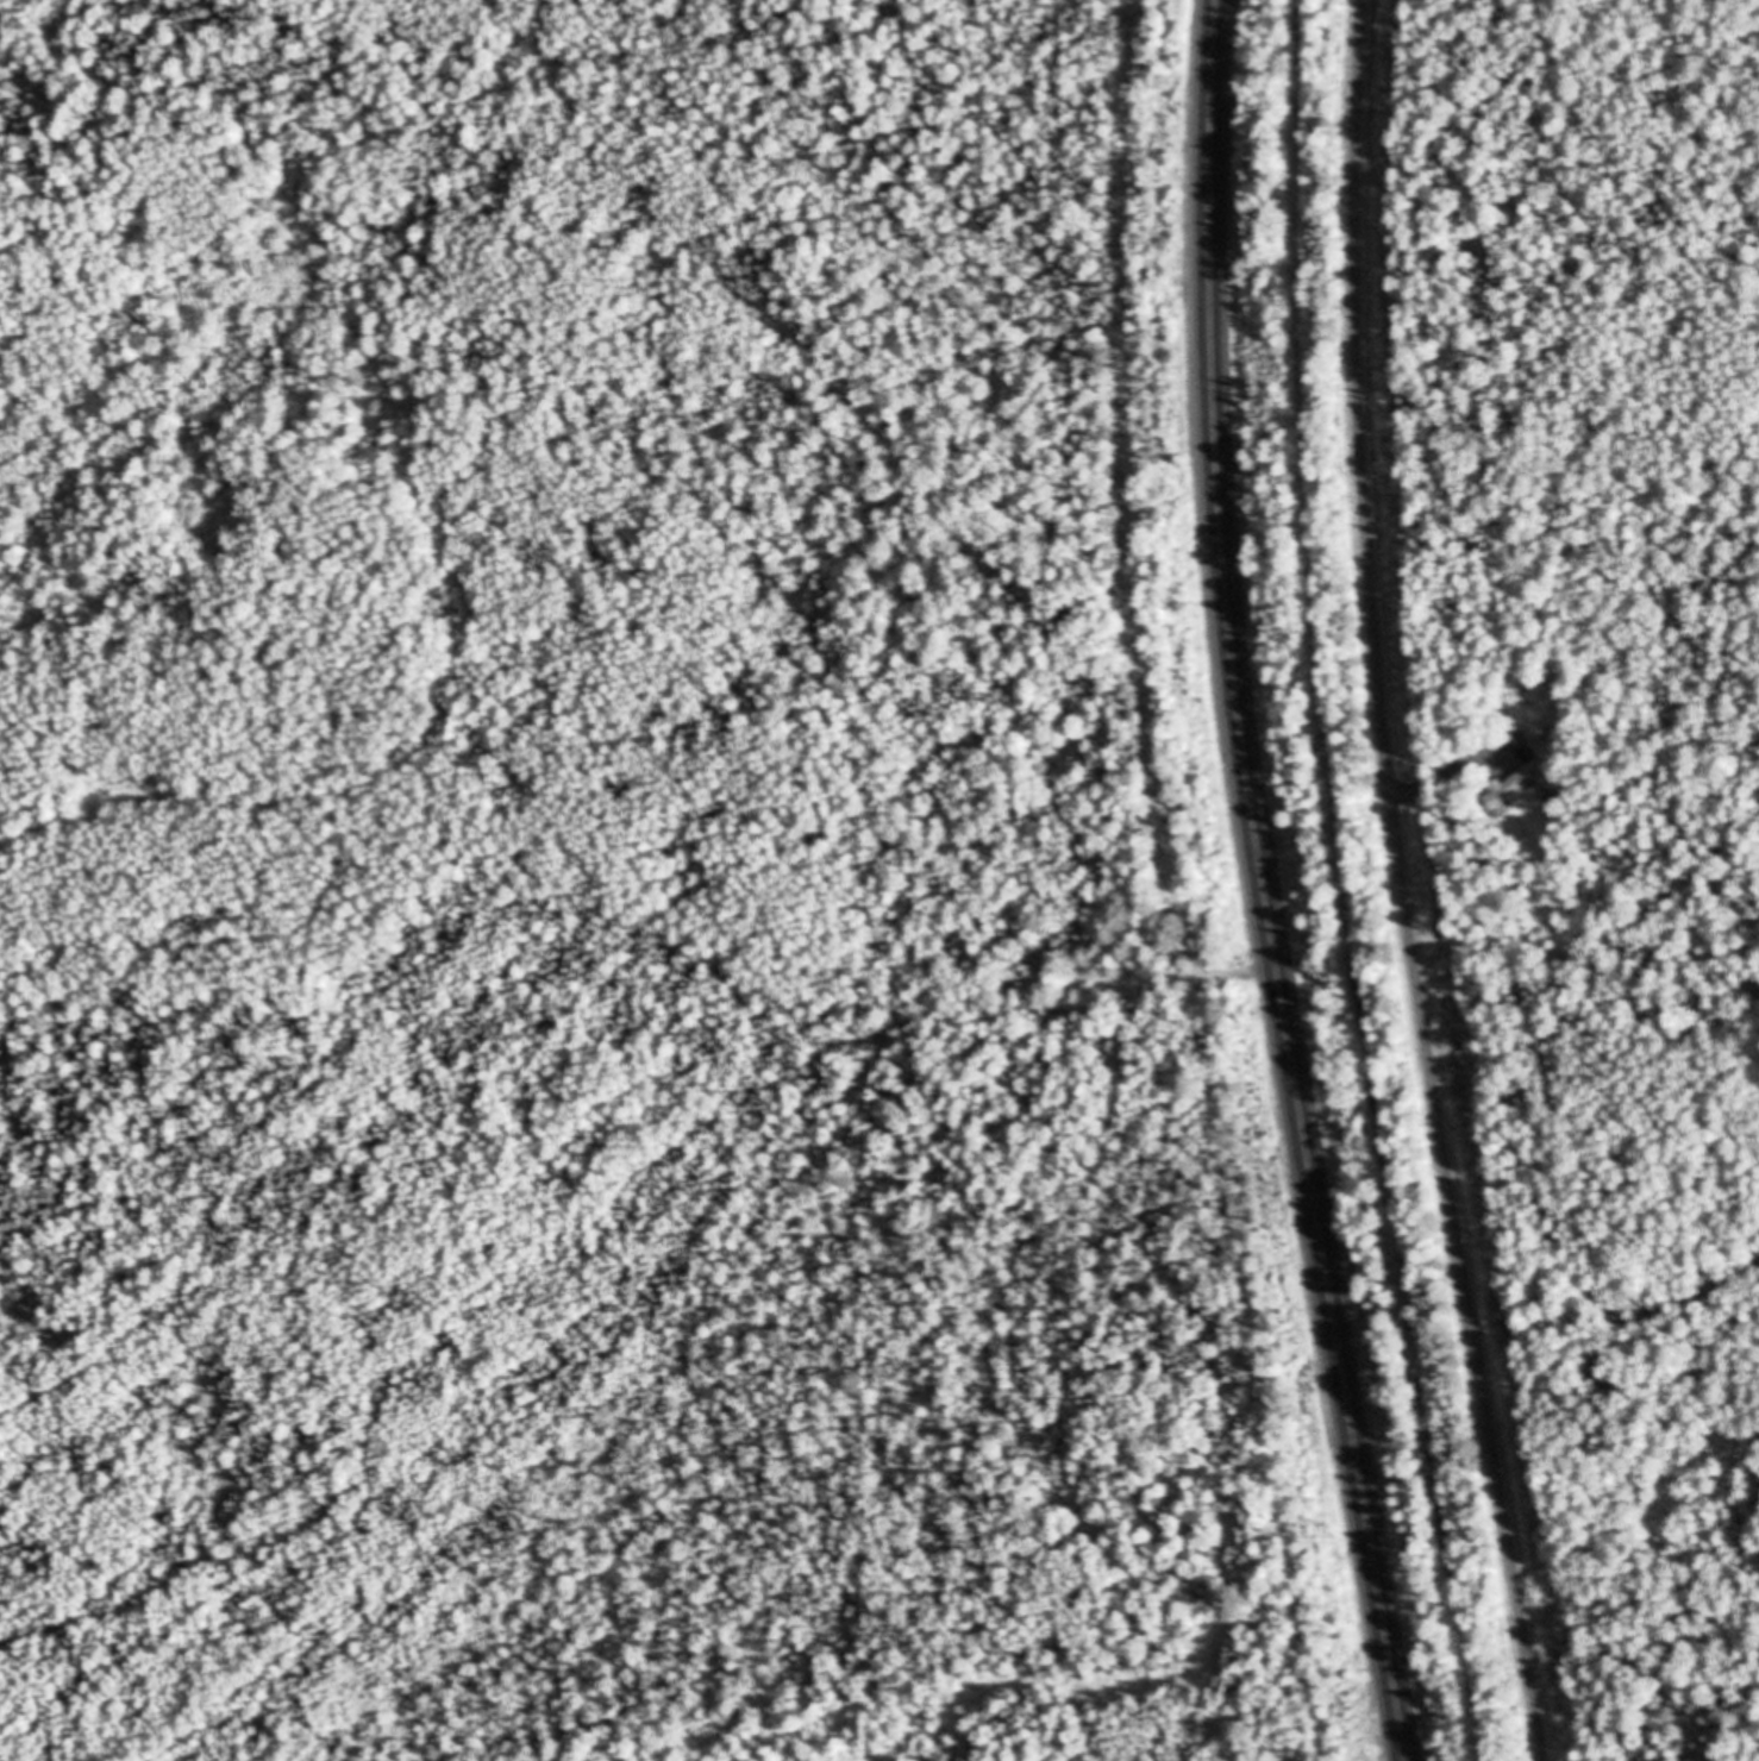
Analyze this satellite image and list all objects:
building: (1501, 792)
road: (1267, 884)
road: (1402, 885)
road: (1623, 1316)

